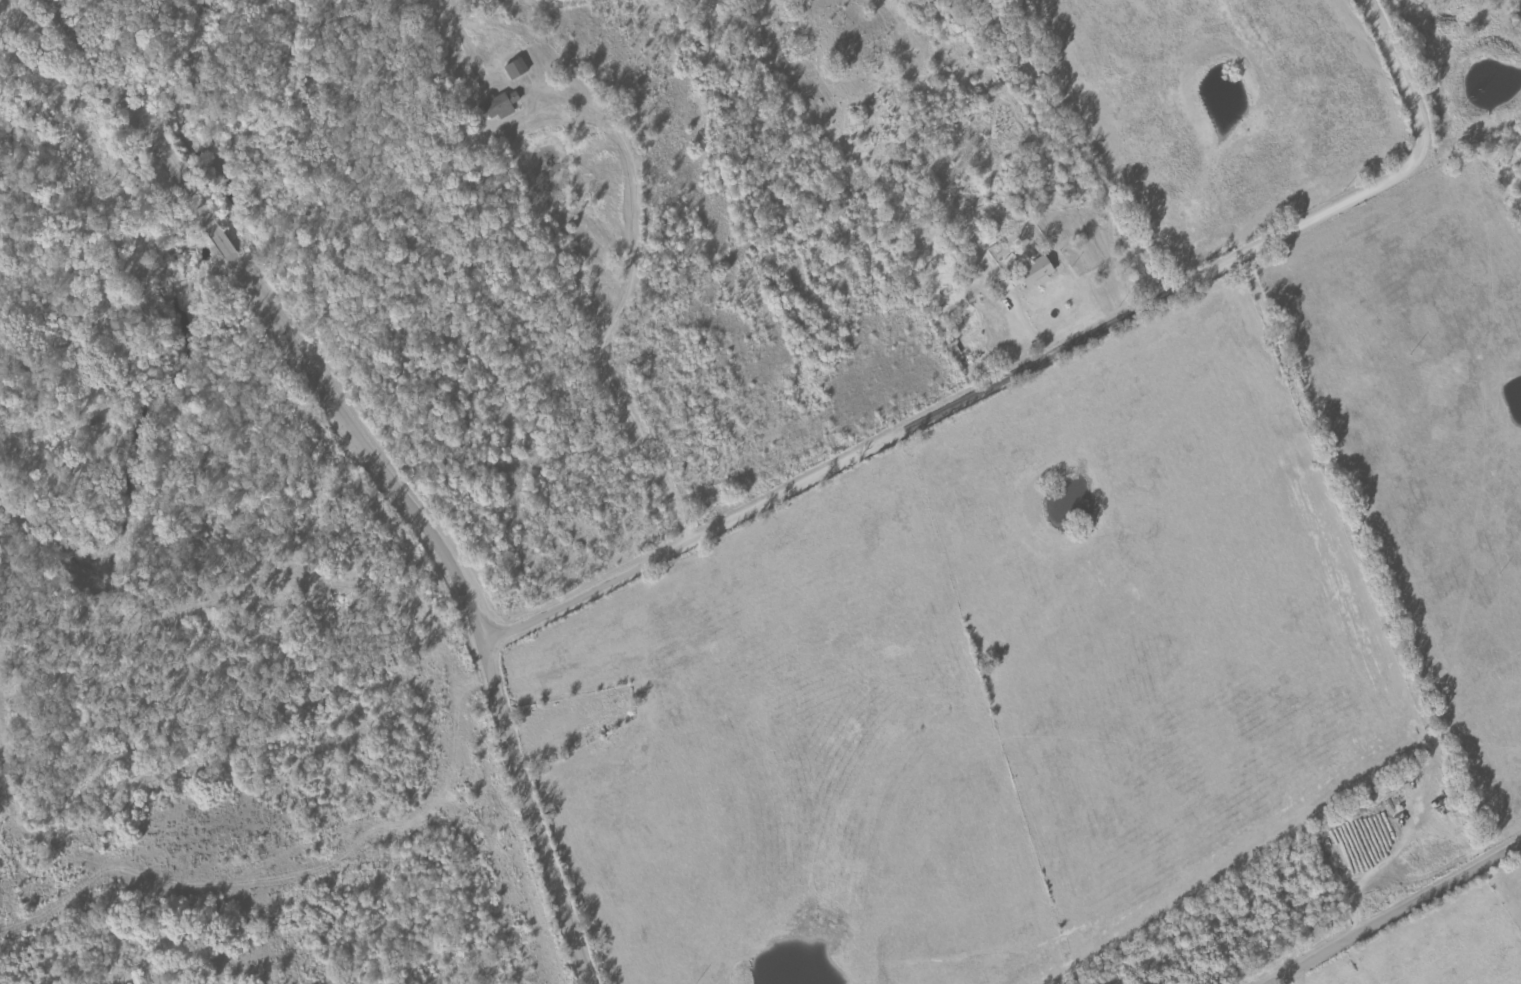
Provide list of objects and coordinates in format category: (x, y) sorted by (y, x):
building: (518, 69)
building: (501, 106)
building: (1039, 272)
road: (623, 309)
road: (1035, 366)
road: (374, 464)
road: (1470, 655)
road: (1507, 885)
road: (1397, 915)

